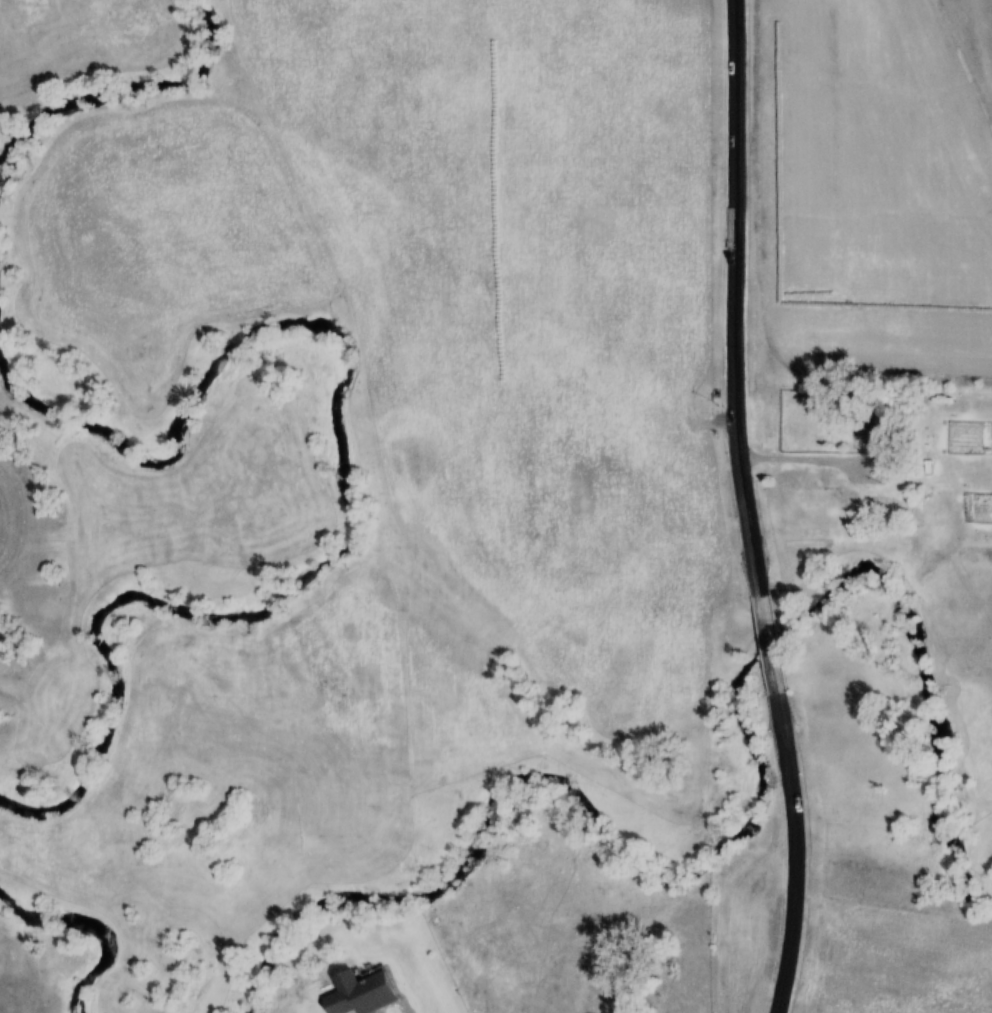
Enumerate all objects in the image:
road: (733, 299)
building: (869, 436)
road: (767, 647)
road: (794, 855)
building: (365, 995)

